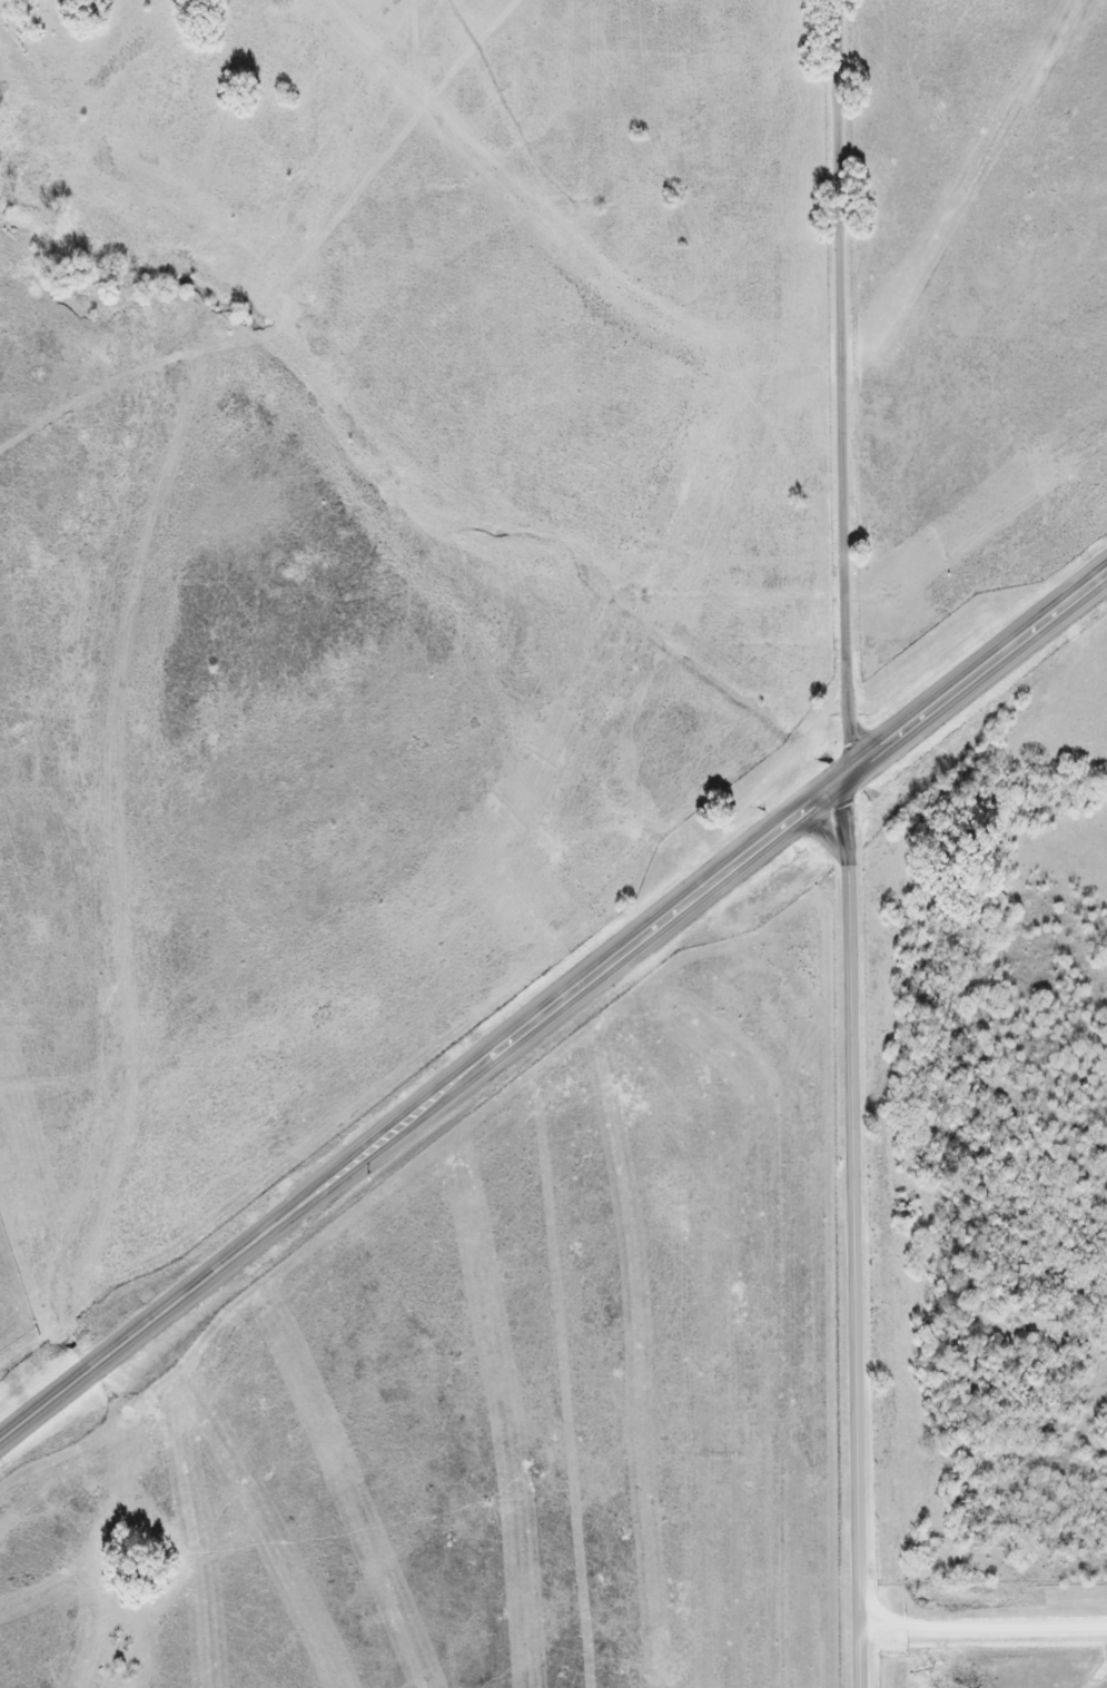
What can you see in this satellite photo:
road: (847, 386)
road: (553, 1008)
road: (859, 1230)

